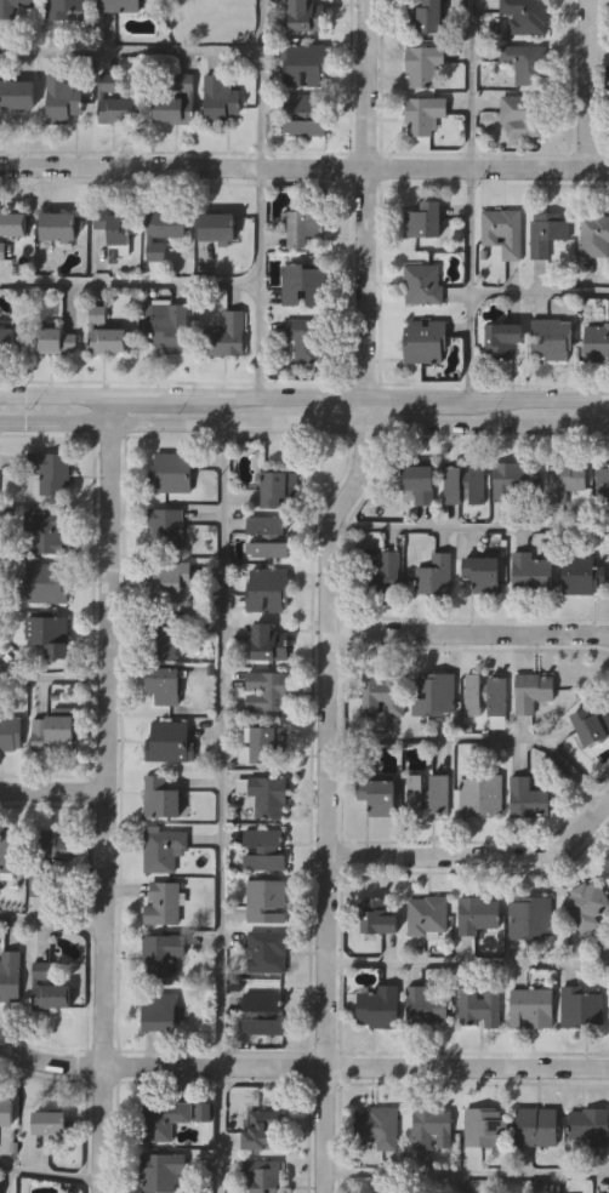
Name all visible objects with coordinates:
building: (177, 0)
building: (120, 5)
building: (15, 6)
building: (64, 6)
building: (304, 15)
building: (426, 16)
building: (528, 16)
road: (131, 52)
road: (598, 56)
building: (302, 62)
building: (527, 62)
building: (422, 63)
road: (588, 84)
building: (19, 92)
building: (63, 97)
building: (221, 98)
building: (114, 102)
building: (178, 103)
building: (304, 113)
building: (425, 113)
building: (523, 115)
road: (304, 167)
road: (261, 198)
road: (472, 198)
building: (423, 219)
building: (115, 223)
building: (59, 224)
building: (218, 224)
building: (304, 224)
building: (12, 227)
building: (164, 229)
building: (501, 230)
building: (547, 233)
building: (594, 234)
building: (422, 282)
road: (130, 284)
building: (303, 284)
road: (540, 293)
building: (170, 326)
building: (104, 333)
building: (228, 335)
building: (306, 337)
building: (56, 338)
building: (503, 338)
building: (552, 338)
building: (7, 339)
building: (426, 341)
building: (597, 343)
road: (182, 394)
road: (486, 396)
road: (303, 423)
building: (51, 470)
building: (170, 473)
building: (514, 479)
building: (421, 480)
building: (565, 480)
building: (465, 483)
building: (603, 484)
building: (277, 486)
building: (167, 526)
building: (49, 529)
road: (471, 530)
building: (266, 537)
building: (484, 572)
building: (531, 572)
building: (584, 573)
building: (380, 575)
building: (436, 575)
building: (167, 580)
building: (47, 581)
building: (266, 588)
road: (328, 592)
building: (50, 633)
road: (468, 633)
building: (166, 635)
building: (269, 645)
road: (53, 679)
building: (166, 685)
building: (268, 690)
building: (533, 692)
building: (383, 693)
building: (436, 693)
building: (483, 695)
building: (591, 724)
building: (55, 731)
building: (11, 732)
road: (478, 740)
building: (171, 743)
building: (267, 743)
road: (52, 789)
road: (103, 793)
building: (379, 794)
building: (428, 794)
building: (482, 795)
building: (268, 798)
building: (528, 798)
building: (161, 799)
road: (223, 807)
building: (264, 847)
building: (163, 850)
building: (10, 854)
road: (478, 856)
building: (46, 858)
building: (607, 862)
building: (607, 868)
building: (266, 898)
building: (165, 902)
building: (587, 902)
building: (377, 913)
building: (428, 913)
building: (477, 913)
building: (531, 915)
road: (50, 925)
building: (267, 949)
building: (163, 951)
road: (468, 964)
building: (11, 974)
building: (49, 989)
building: (380, 1004)
building: (426, 1004)
building: (482, 1004)
building: (531, 1005)
building: (581, 1005)
building: (163, 1011)
building: (264, 1012)
road: (302, 1066)
building: (7, 1111)
building: (165, 1118)
building: (50, 1121)
building: (539, 1124)
building: (590, 1124)
building: (380, 1125)
building: (485, 1125)
building: (261, 1126)
building: (433, 1126)
building: (164, 1170)
building: (264, 1174)
road: (466, 1175)
road: (49, 1177)
road: (432, 1183)
building: (0, 1186)

